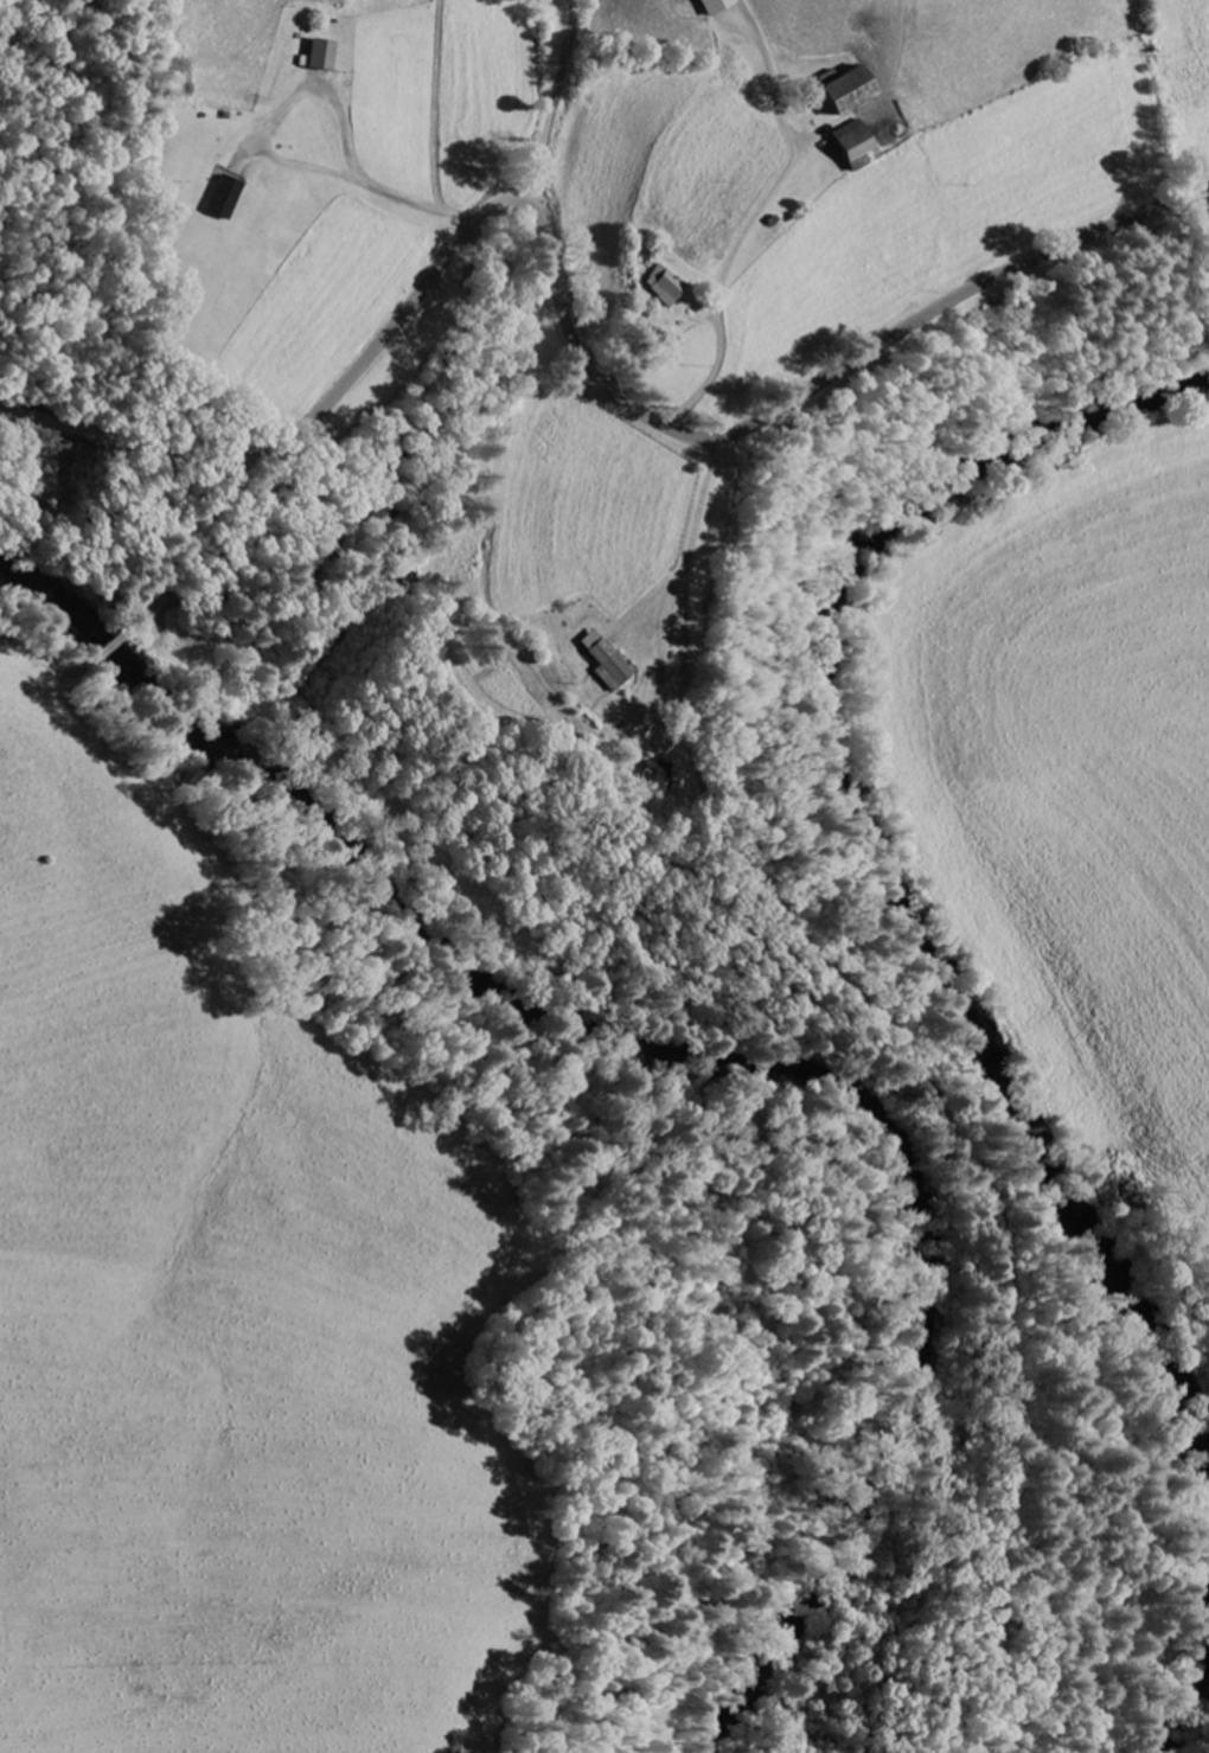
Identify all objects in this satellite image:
building: (712, 6)
building: (320, 57)
building: (847, 94)
building: (856, 149)
building: (223, 199)
building: (664, 287)
road: (564, 313)
building: (604, 663)
building: (657, 772)
river: (883, 847)
river: (716, 1063)
river: (1188, 1697)

